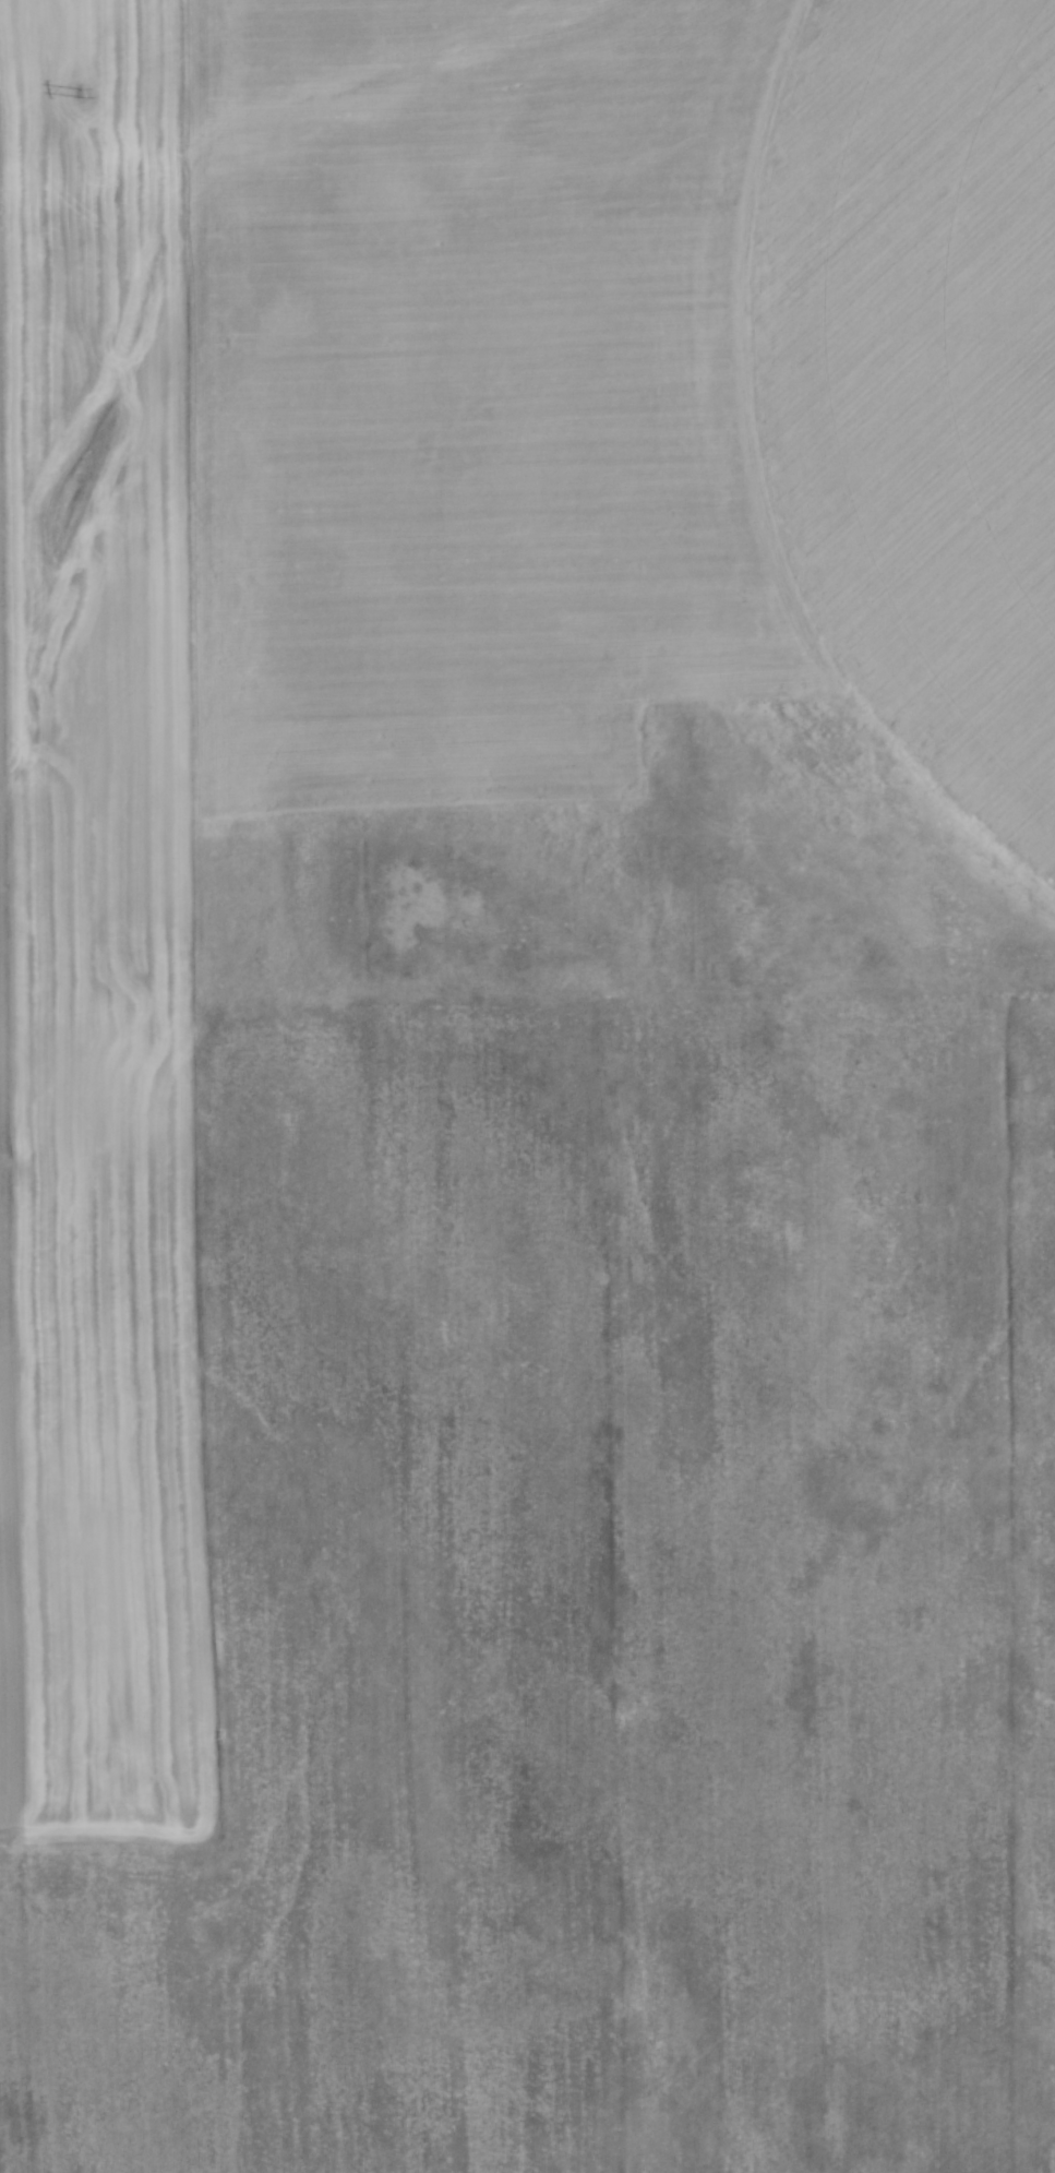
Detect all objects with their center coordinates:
power tower: (80, 91)

